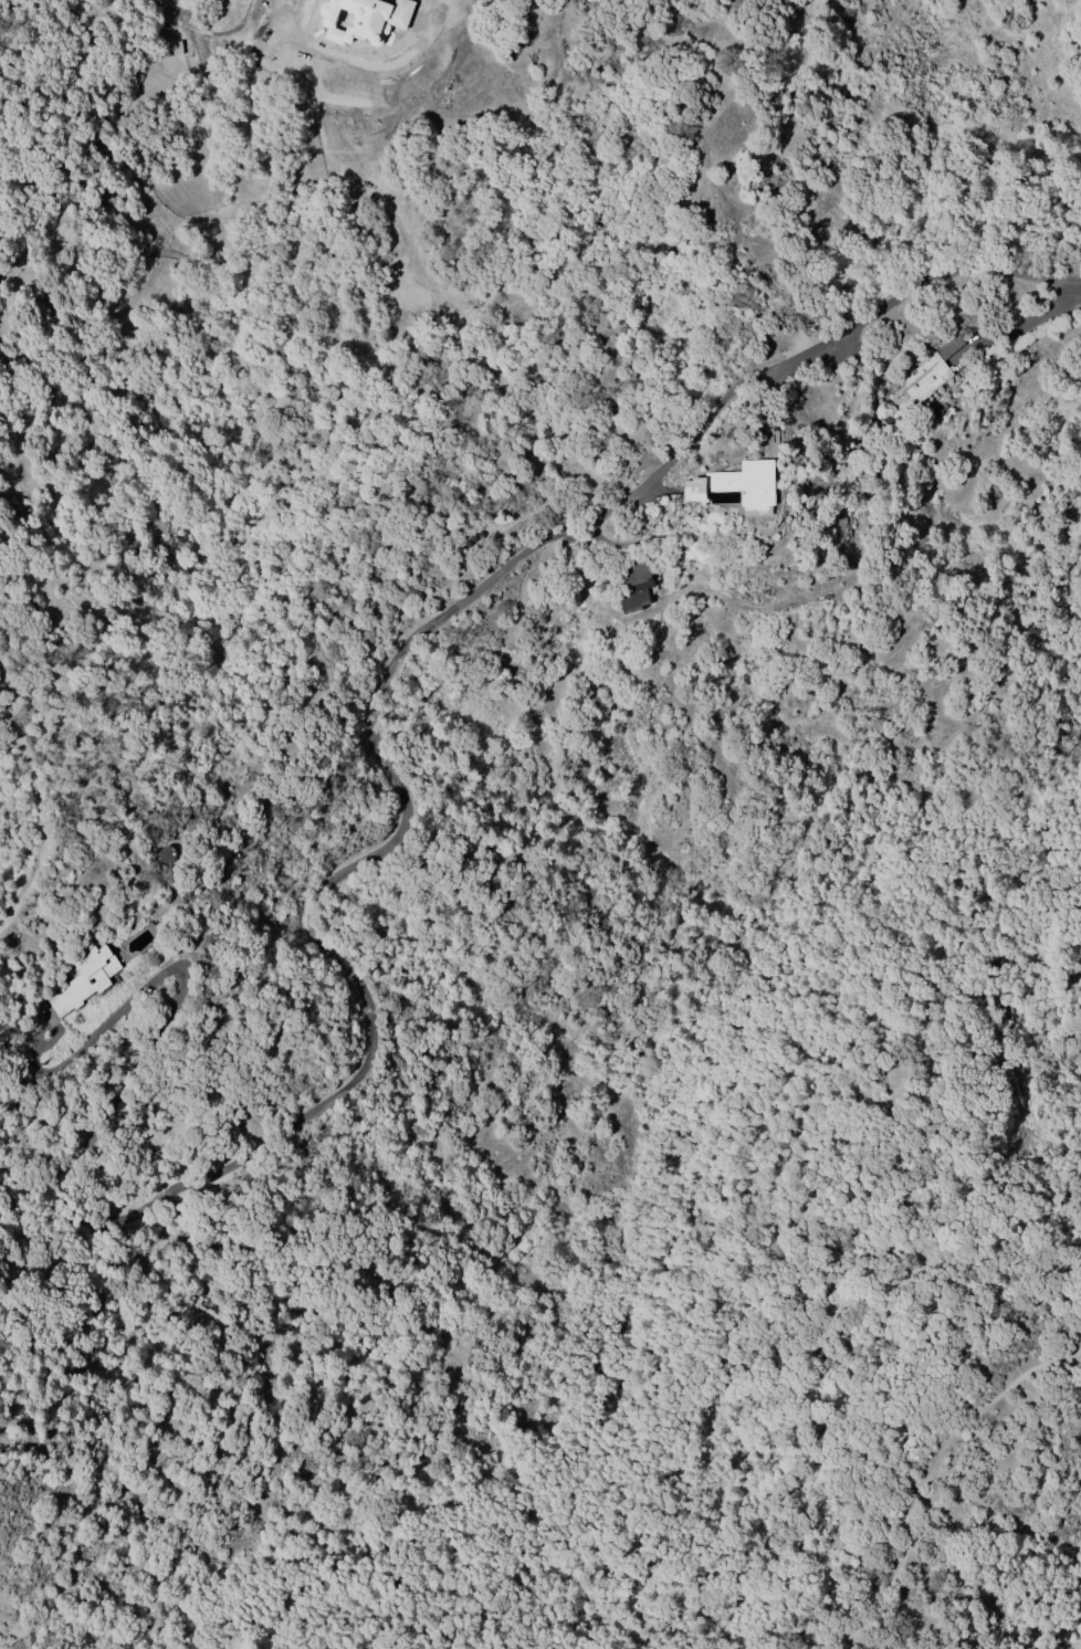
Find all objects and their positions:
road: (276, 6)
building: (924, 377)
building: (737, 486)
building: (634, 586)
road: (364, 706)
building: (84, 980)
road: (926, 1471)

